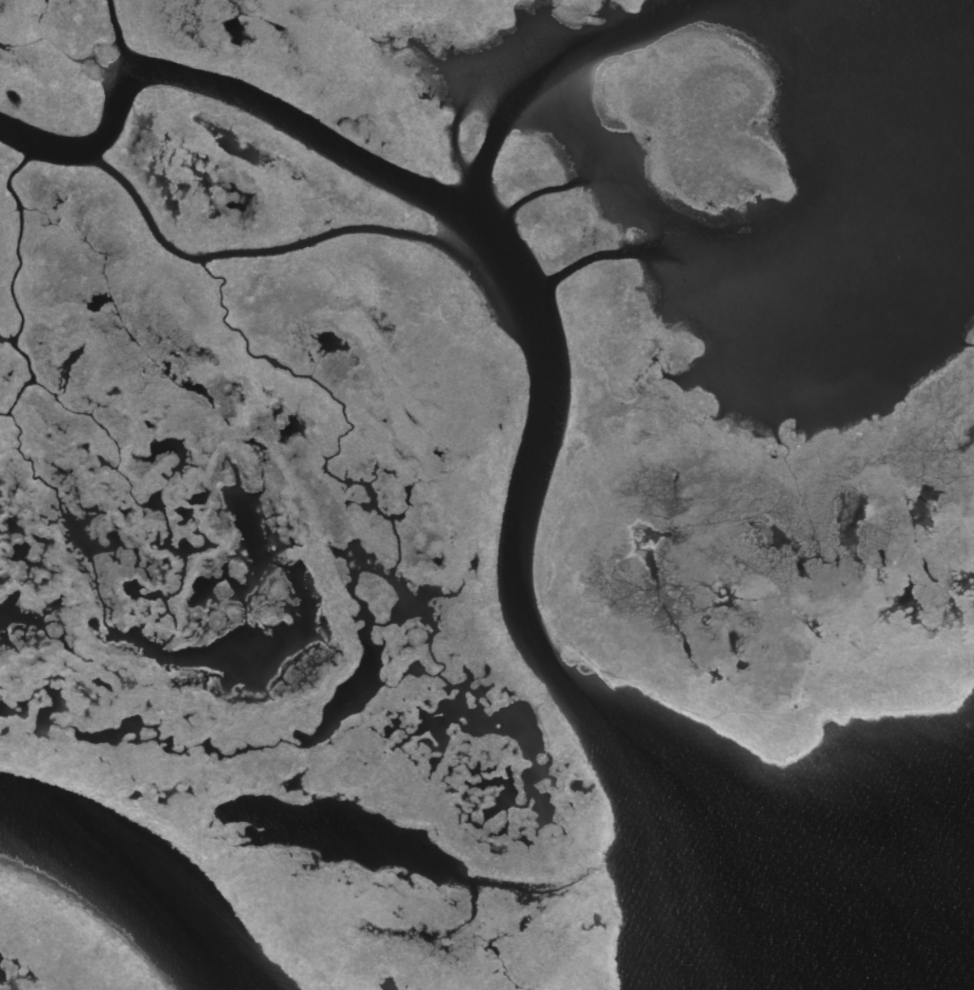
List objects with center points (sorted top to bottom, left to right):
river: (113, 910)

